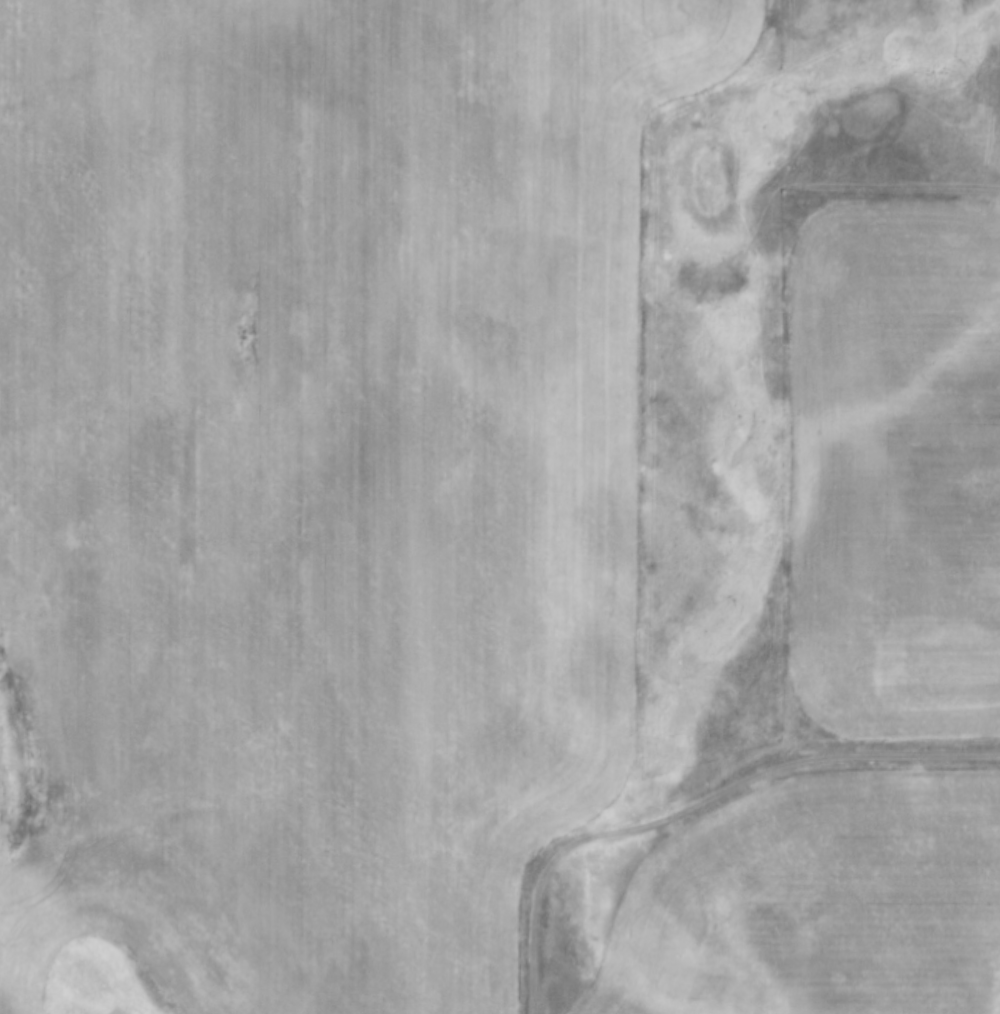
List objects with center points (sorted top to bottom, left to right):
road: (695, 810)

